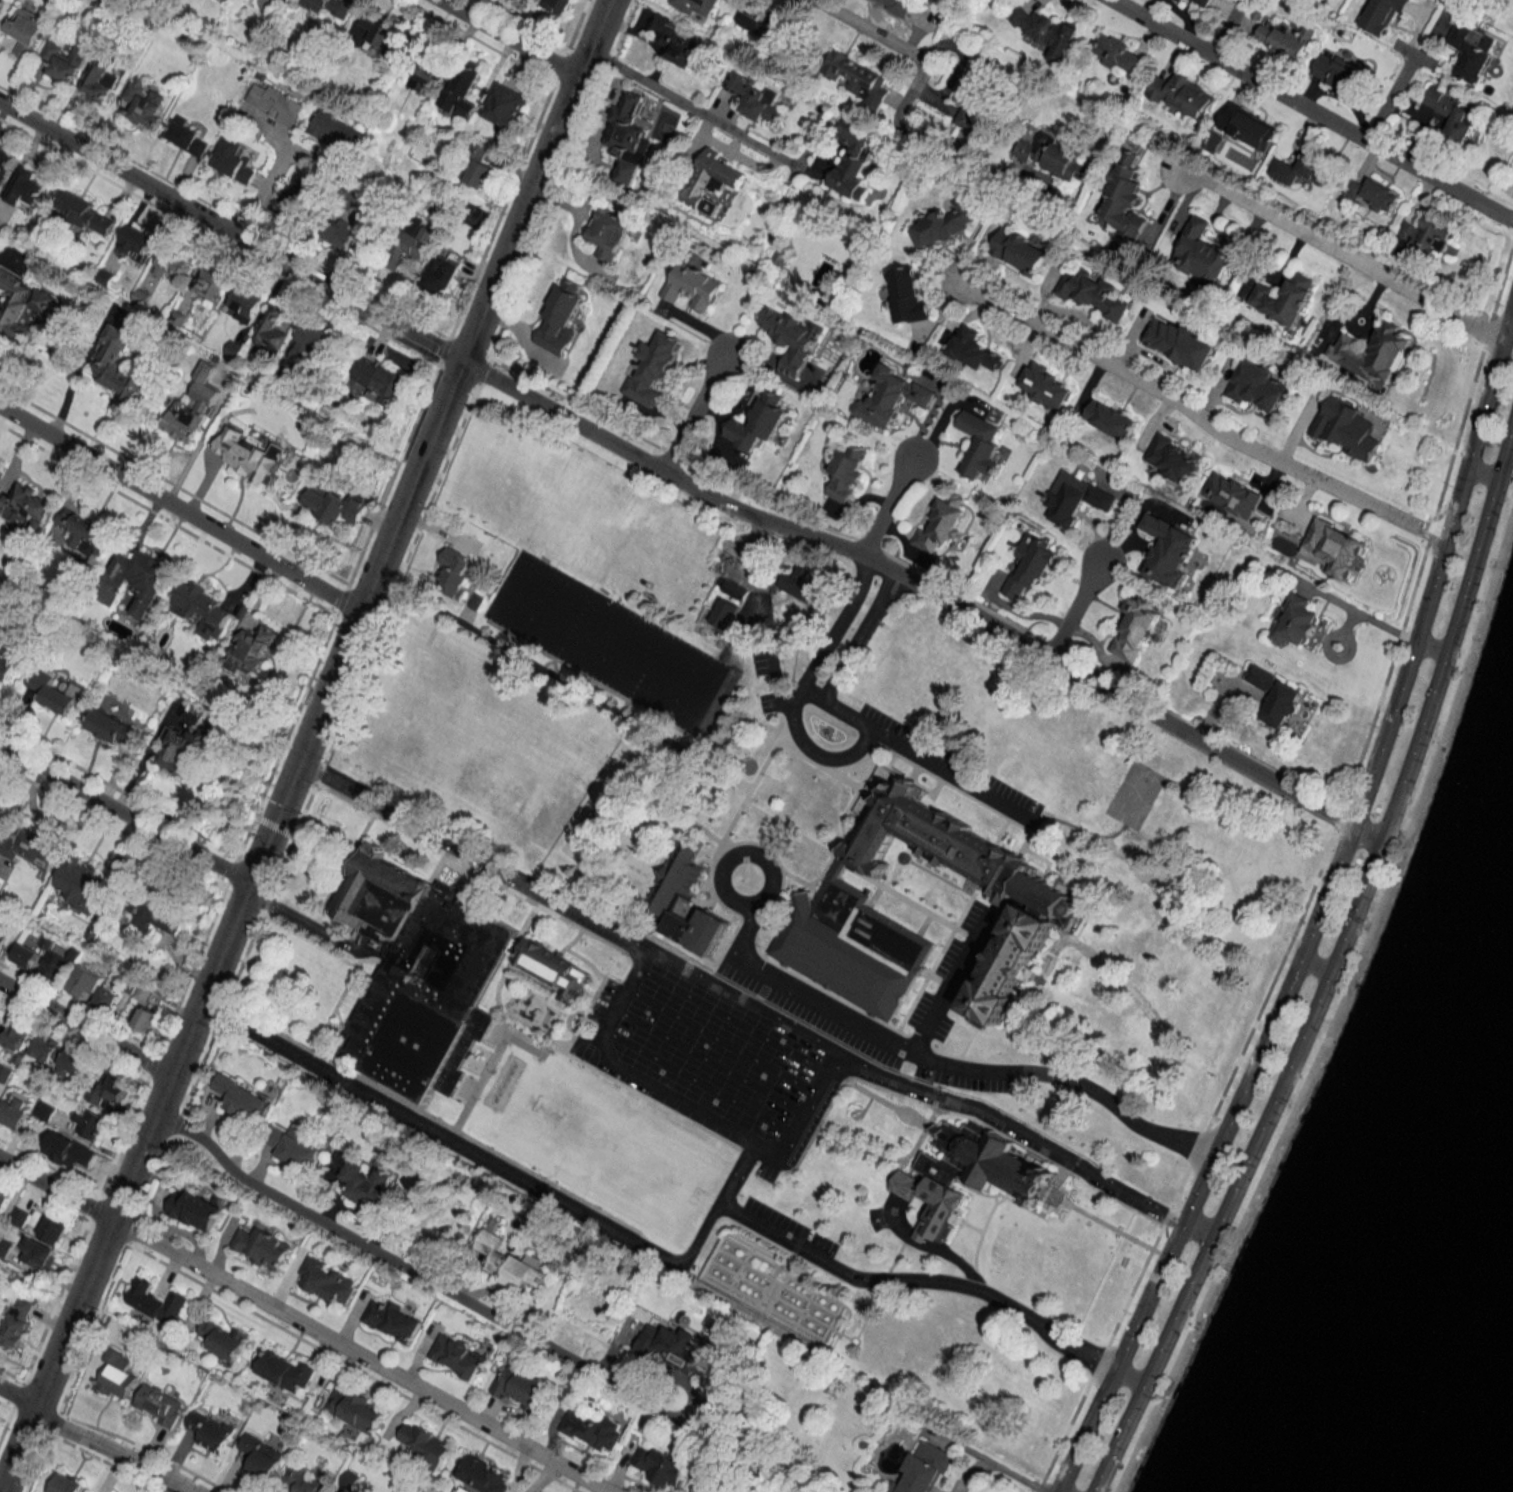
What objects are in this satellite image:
building: (286, 0)
building: (1181, 0)
building: (1203, 2)
building: (896, 5)
building: (0, 6)
building: (559, 6)
building: (330, 7)
building: (695, 7)
building: (1382, 14)
building: (761, 22)
road: (1225, 28)
building: (379, 30)
road: (871, 30)
building: (1043, 30)
building: (25, 32)
road: (508, 39)
building: (1284, 39)
building: (677, 43)
building: (1118, 54)
building: (1469, 54)
building: (62, 61)
road: (960, 70)
building: (1336, 73)
building: (426, 79)
building: (857, 79)
building: (100, 80)
road: (913, 84)
building: (462, 90)
building: (976, 91)
building: (1183, 95)
building: (755, 98)
road: (1386, 99)
road: (679, 100)
building: (143, 102)
building: (275, 103)
building: (505, 106)
road: (1312, 113)
building: (1450, 115)
building: (1246, 126)
building: (627, 130)
building: (335, 131)
building: (187, 137)
road: (727, 150)
building: (1053, 157)
building: (5, 161)
building: (234, 161)
building: (852, 161)
building: (1315, 167)
building: (479, 173)
building: (711, 181)
building: (25, 187)
building: (1372, 194)
building: (1124, 196)
road: (263, 197)
building: (297, 199)
building: (86, 214)
building: (946, 222)
building: (609, 233)
building: (342, 234)
building: (1423, 238)
building: (412, 243)
building: (137, 244)
building: (1019, 251)
road: (1339, 251)
building: (1203, 253)
building: (174, 262)
building: (441, 273)
building: (210, 283)
building: (691, 286)
building: (1091, 292)
building: (907, 296)
building: (1283, 297)
road: (1511, 303)
building: (22, 306)
building: (245, 306)
building: (559, 318)
building: (272, 330)
building: (791, 337)
building: (1179, 342)
building: (312, 345)
building: (973, 350)
building: (1373, 353)
building: (118, 367)
building: (652, 369)
building: (381, 380)
building: (1256, 385)
building: (1046, 387)
building: (891, 396)
building: (192, 409)
road: (693, 413)
road: (1197, 418)
building: (1110, 419)
building: (759, 421)
building: (1345, 427)
road: (1295, 434)
building: (980, 445)
building: (248, 454)
building: (1171, 458)
road: (1481, 471)
building: (847, 473)
road: (685, 485)
building: (1231, 494)
building: (1076, 498)
building: (24, 502)
building: (332, 504)
road: (887, 504)
road: (179, 510)
building: (941, 524)
building: (83, 532)
building: (1334, 548)
building: (1169, 551)
building: (1033, 564)
building: (454, 573)
building: (142, 579)
road: (762, 580)
building: (801, 584)
building: (732, 585)
building: (196, 600)
road: (1075, 608)
building: (725, 613)
building: (1295, 621)
road: (836, 622)
building: (1135, 629)
road: (855, 634)
building: (2, 641)
park: (609, 643)
road: (1430, 646)
building: (251, 650)
building: (9, 664)
road: (774, 676)
building: (54, 691)
building: (1276, 696)
road: (826, 702)
building: (114, 728)
road: (305, 746)
road: (809, 749)
building: (181, 751)
road: (941, 768)
road: (124, 815)
building: (31, 847)
building: (83, 885)
building: (664, 895)
building: (840, 902)
road: (1319, 905)
building: (158, 916)
building: (3, 938)
building: (25, 955)
building: (547, 963)
road: (1314, 964)
building: (53, 966)
road: (1331, 969)
building: (418, 973)
building: (78, 984)
road: (948, 988)
building: (105, 999)
road: (736, 1002)
building: (0, 1012)
building: (145, 1020)
road: (85, 1029)
road: (867, 1030)
building: (15, 1035)
building: (46, 1047)
parking lot: (705, 1058)
building: (73, 1062)
building: (5, 1073)
road: (638, 1078)
building: (108, 1088)
building: (241, 1096)
road: (806, 1101)
building: (44, 1110)
building: (13, 1112)
building: (89, 1123)
park: (609, 1143)
building: (294, 1146)
building: (68, 1151)
road: (471, 1151)
building: (986, 1155)
road: (732, 1169)
building: (366, 1184)
road: (55, 1187)
building: (928, 1189)
building: (3, 1201)
building: (195, 1210)
building: (52, 1229)
road: (1197, 1230)
building: (5, 1244)
building: (261, 1247)
road: (380, 1252)
building: (39, 1254)
building: (510, 1263)
building: (326, 1281)
road: (914, 1281)
building: (157, 1302)
building: (393, 1320)
building: (16, 1321)
building: (224, 1339)
building: (669, 1348)
road: (362, 1354)
building: (458, 1356)
building: (285, 1371)
building: (116, 1374)
road: (1128, 1376)
building: (520, 1388)
road: (18, 1396)
building: (159, 1405)
building: (356, 1410)
building: (591, 1429)
building: (210, 1431)
building: (427, 1444)
road: (113, 1449)
building: (261, 1456)
building: (661, 1467)
road: (996, 1467)
building: (924, 1469)
building: (482, 1474)
building: (349, 1479)
building: (304, 1480)
building: (67, 1484)
building: (710, 1486)
road: (1059, 1491)

